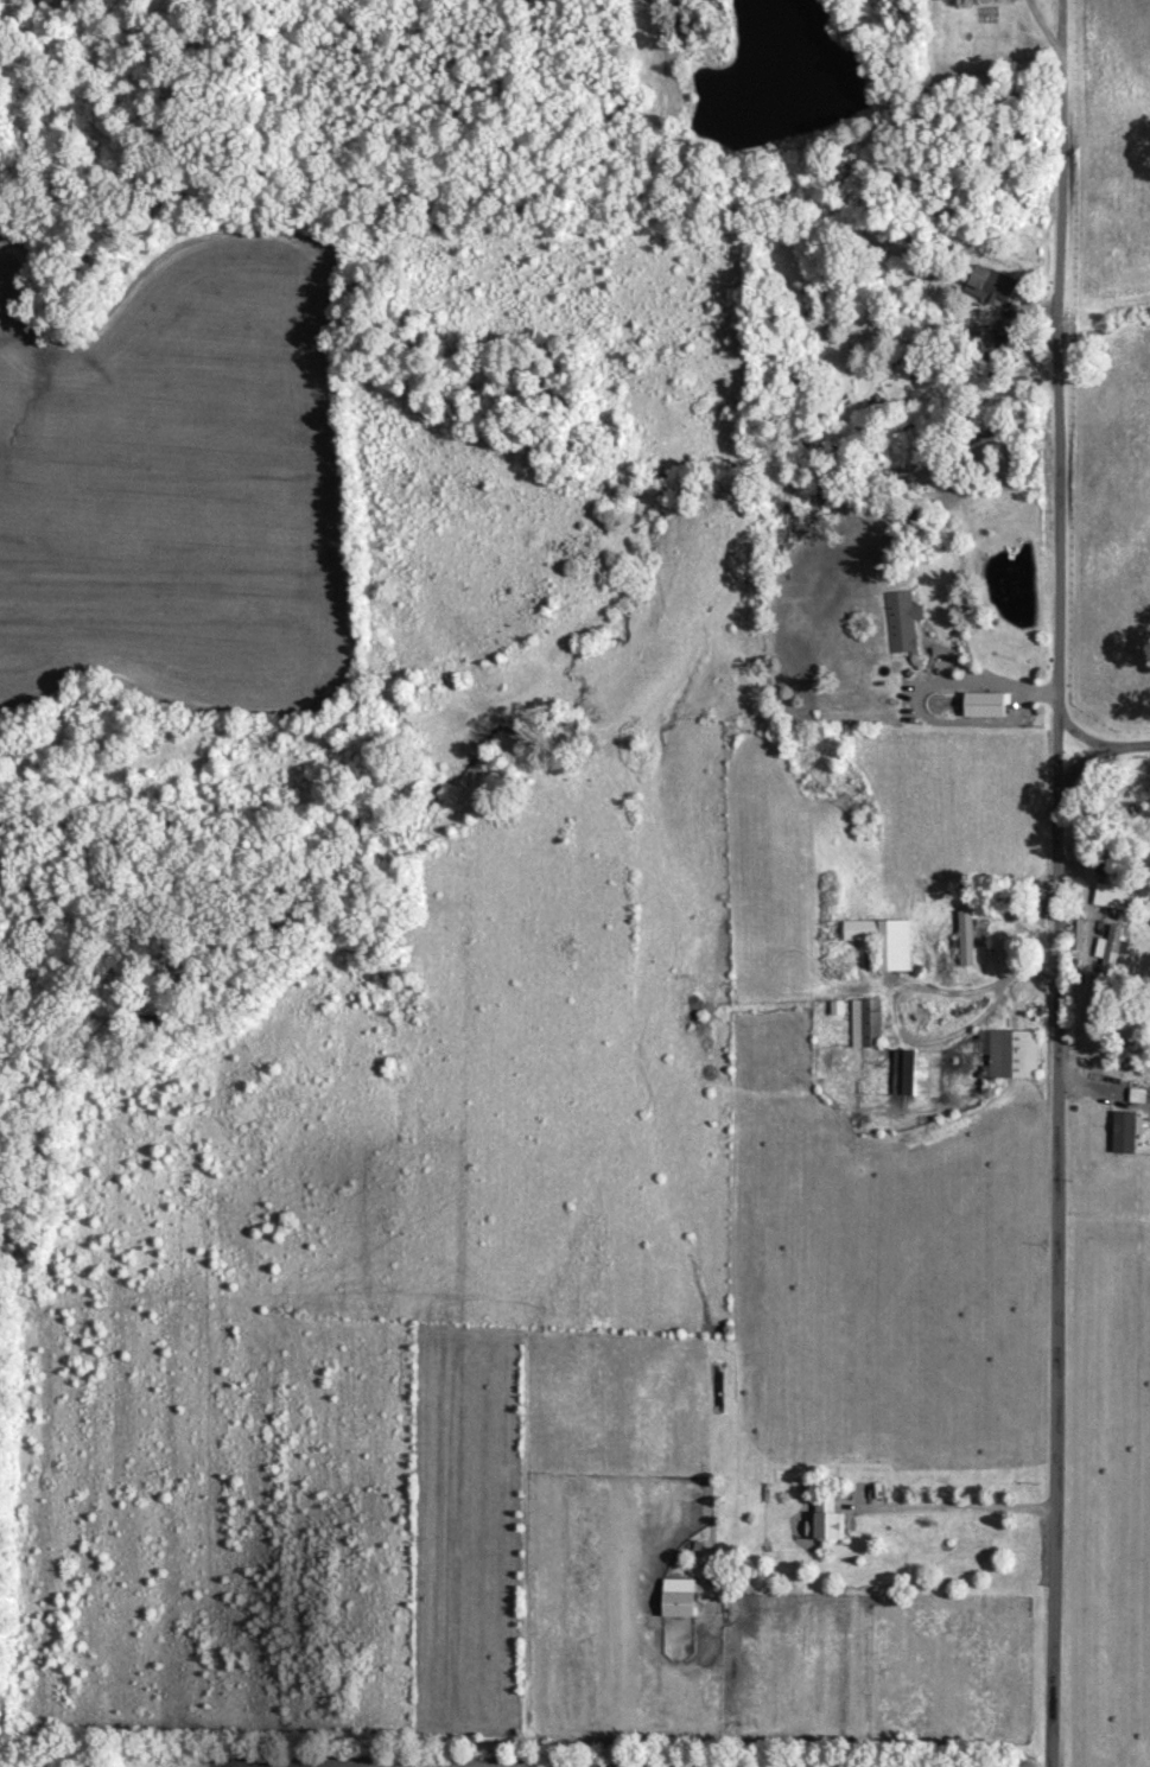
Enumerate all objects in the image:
building: (987, 291)
building: (898, 625)
building: (983, 708)
road: (1080, 731)
road: (1132, 742)
road: (1084, 759)
road: (1055, 883)
building: (1108, 896)
building: (964, 942)
building: (882, 945)
building: (1107, 955)
building: (834, 1012)
building: (863, 1028)
building: (1005, 1057)
building: (914, 1076)
building: (1122, 1136)
road: (957, 1512)
building: (826, 1524)
building: (678, 1608)

